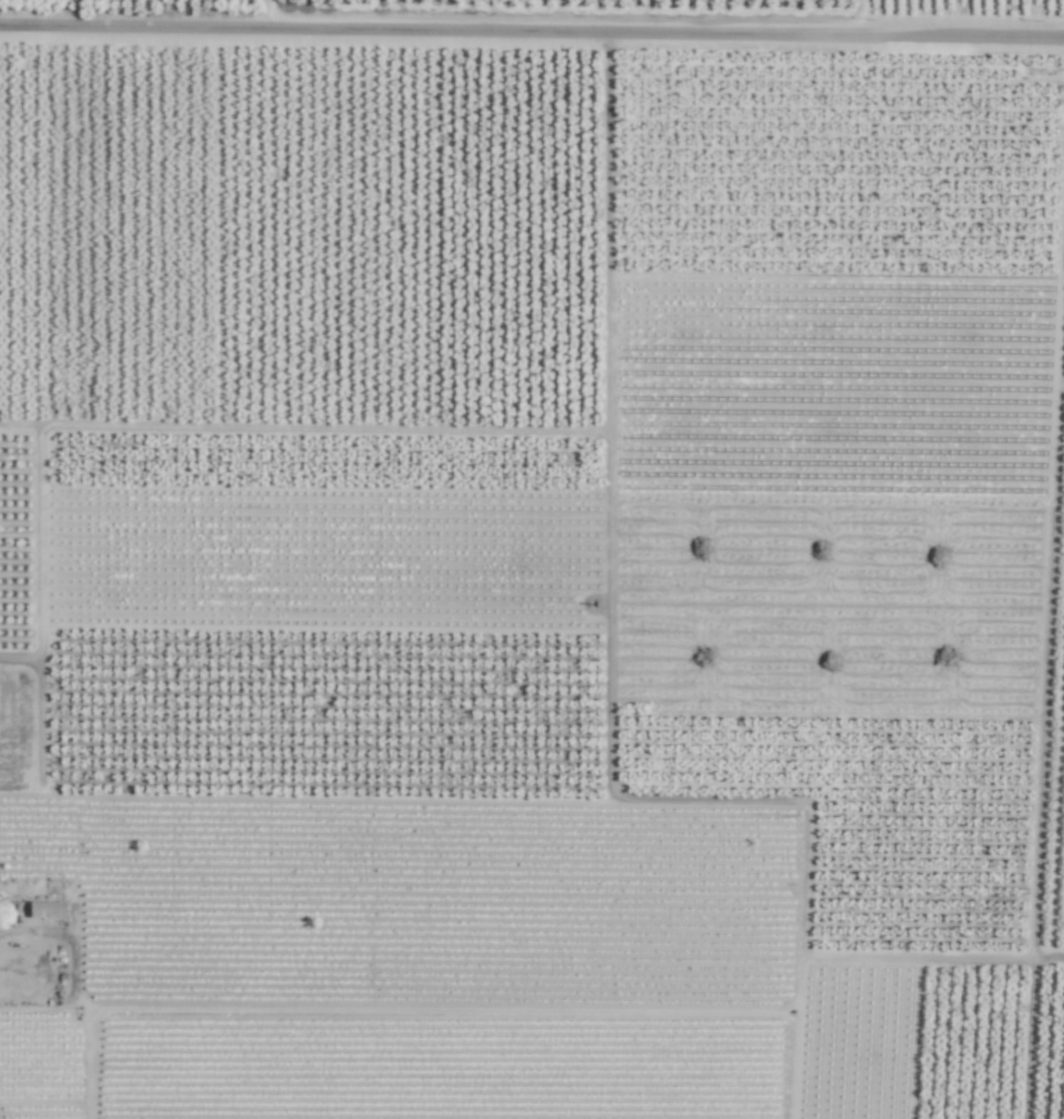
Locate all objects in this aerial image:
road: (531, 32)
building: (46, 910)

